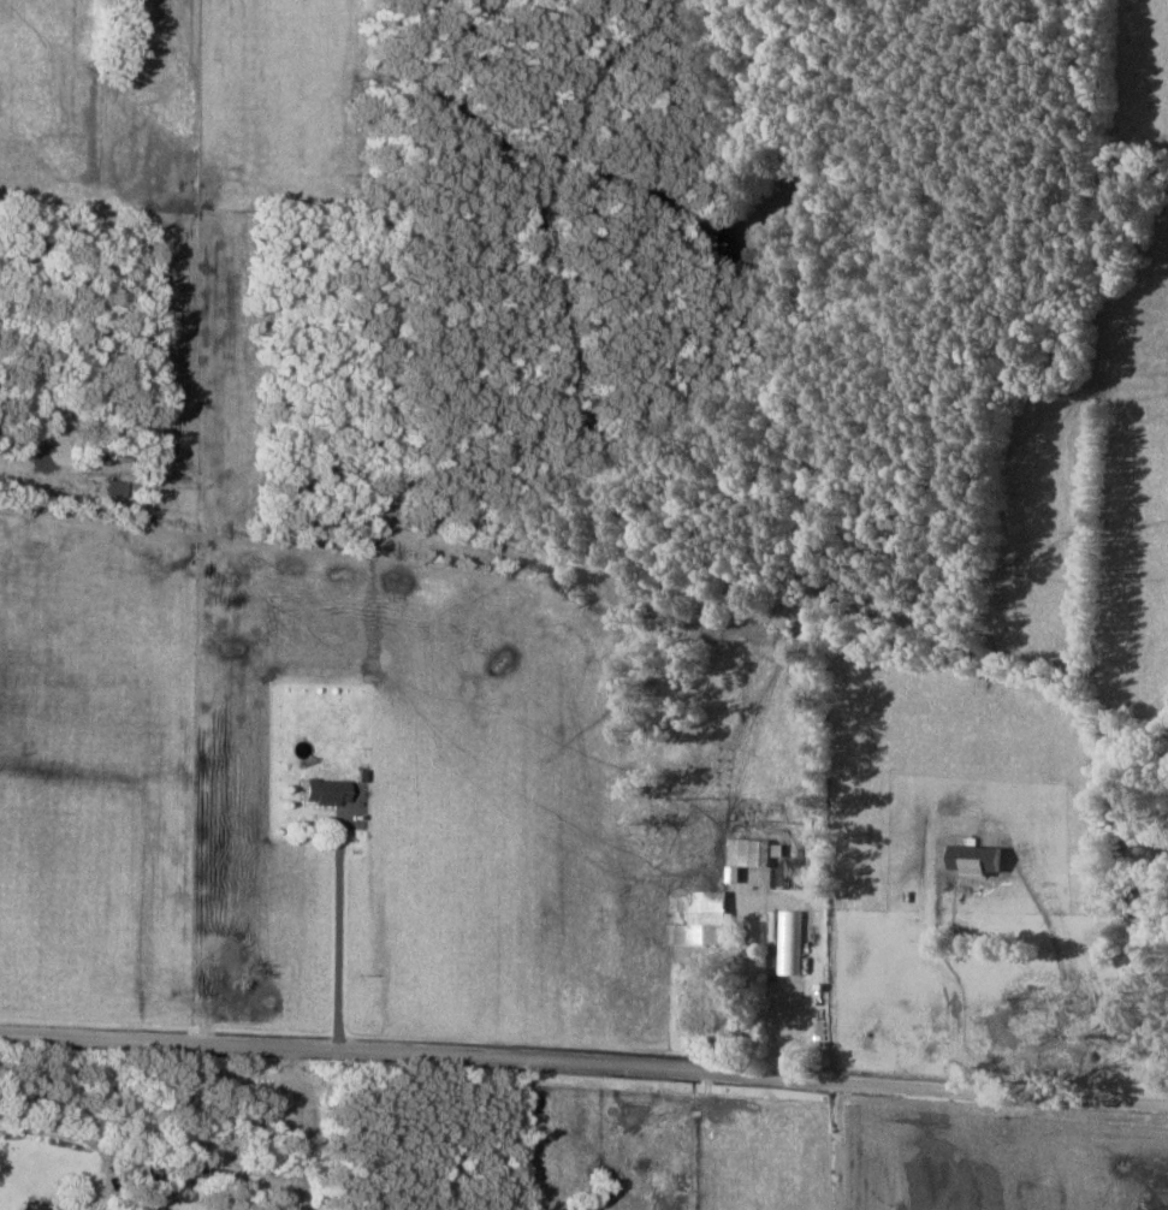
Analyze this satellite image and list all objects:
building: (328, 790)
building: (816, 853)
building: (748, 854)
building: (708, 920)
road: (338, 936)
building: (788, 938)
road: (757, 977)
building: (1033, 1042)
road: (263, 1044)
road: (847, 1075)
road: (526, 1134)
road: (84, 1138)
building: (137, 1169)
building: (46, 1209)

